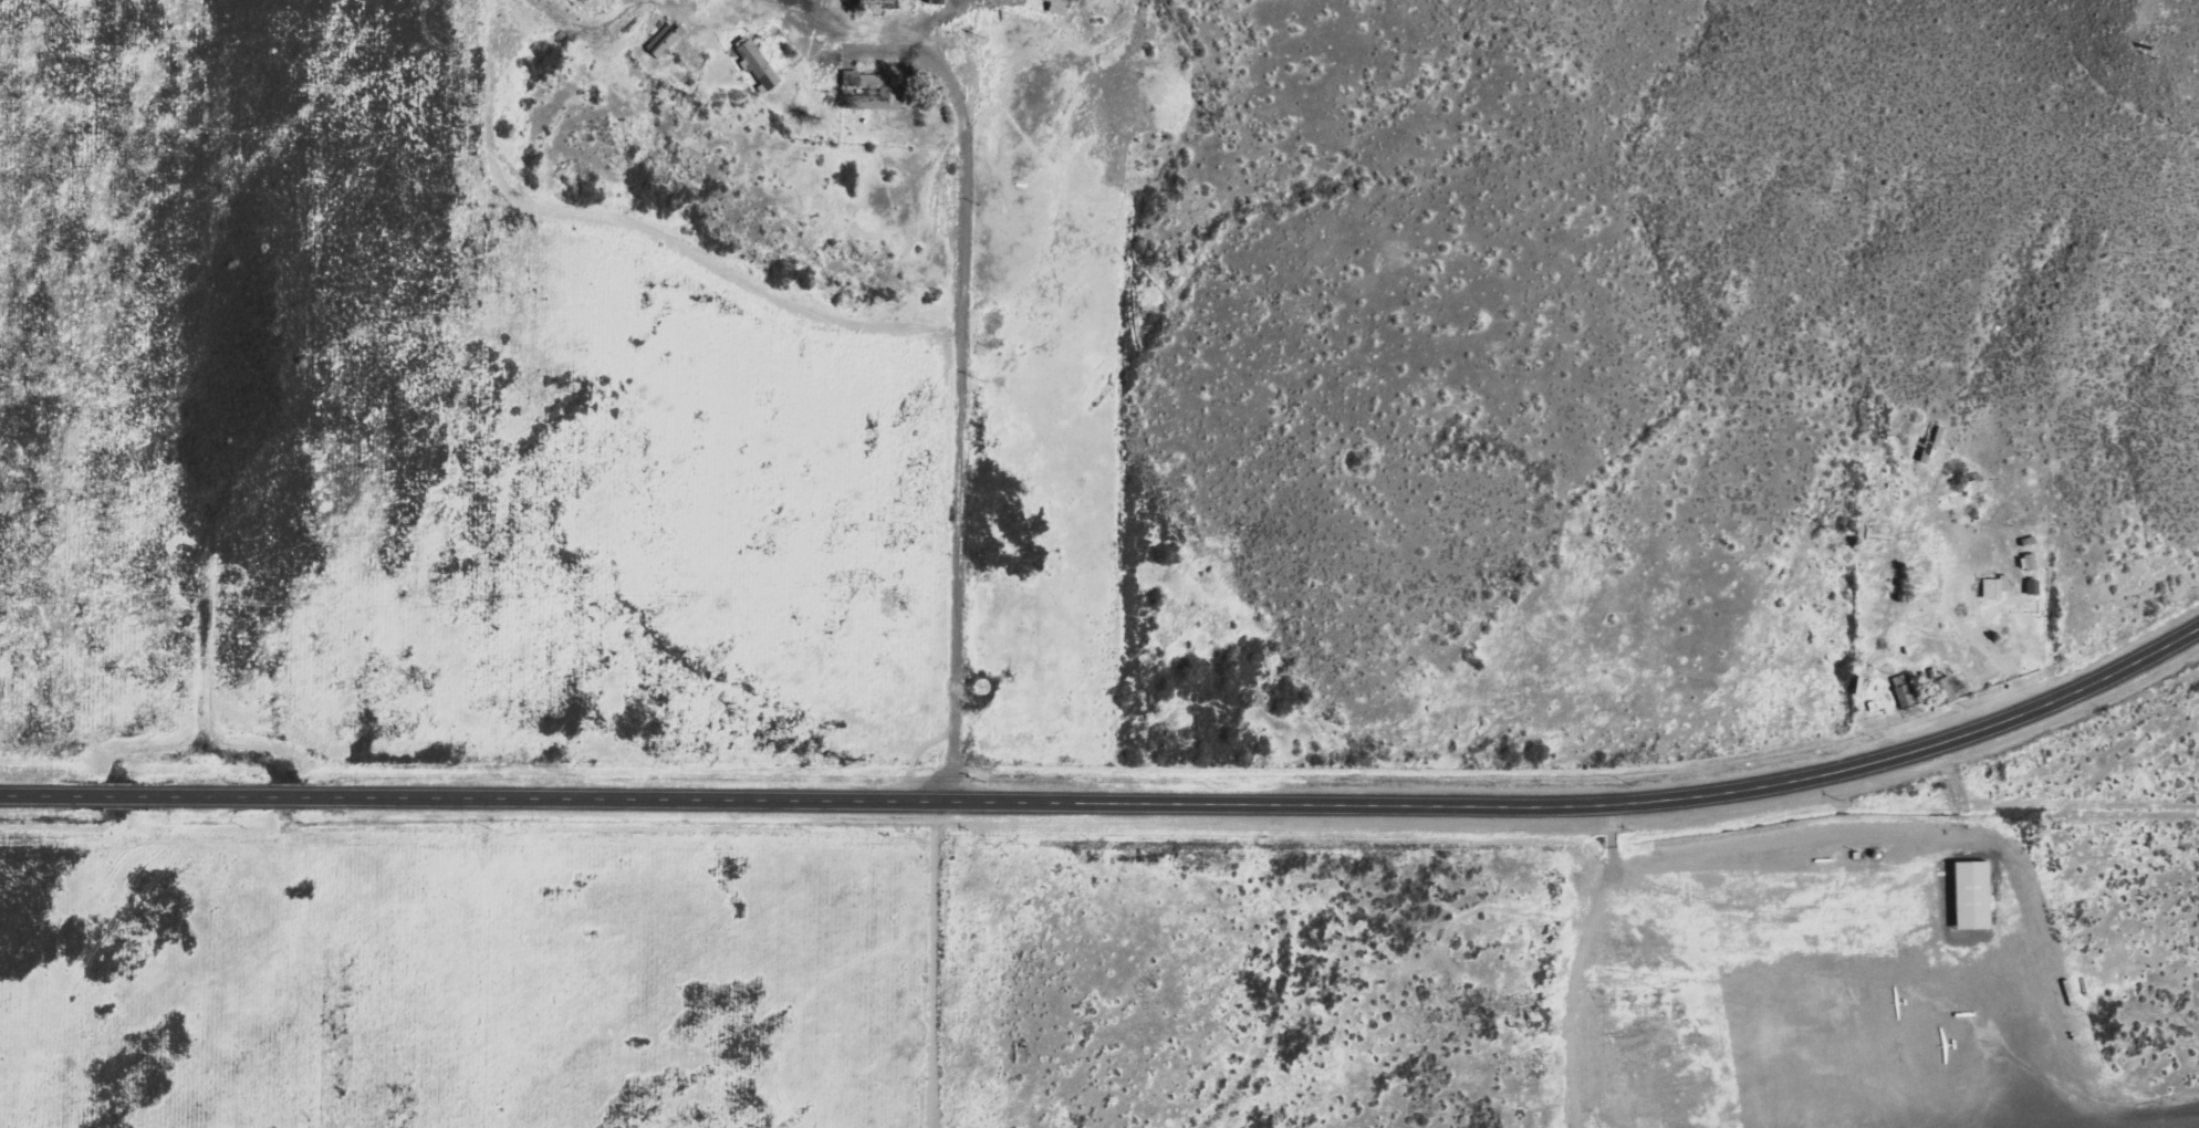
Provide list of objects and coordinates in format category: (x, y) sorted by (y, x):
building: (1060, 7)
building: (665, 41)
building: (760, 63)
road: (723, 271)
road: (965, 347)
crop: (414, 431)
building: (1991, 586)
road: (1114, 797)
road: (1609, 826)
building: (1876, 854)
storage tank: (1876, 854)
building: (1855, 855)
building: (1970, 895)
airport: (1581, 970)
airport apron: (1826, 990)

